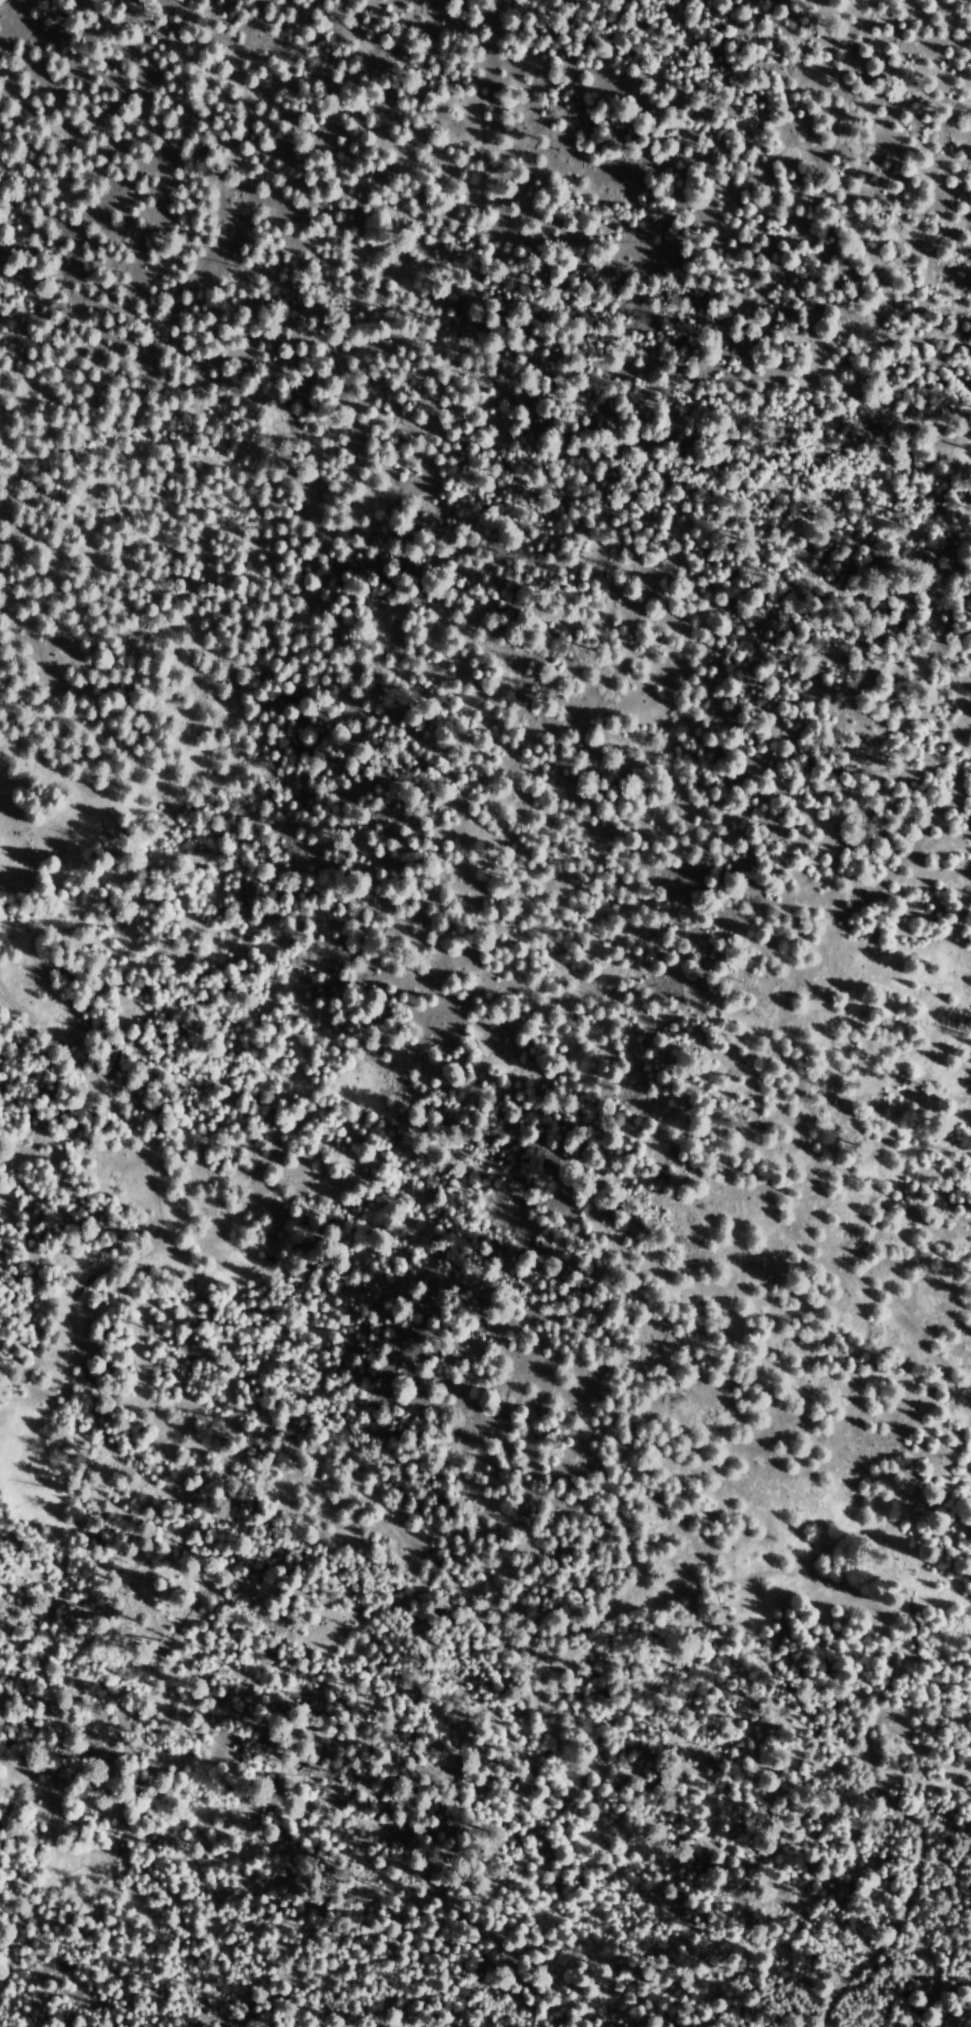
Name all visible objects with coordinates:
road: (334, 1665)

